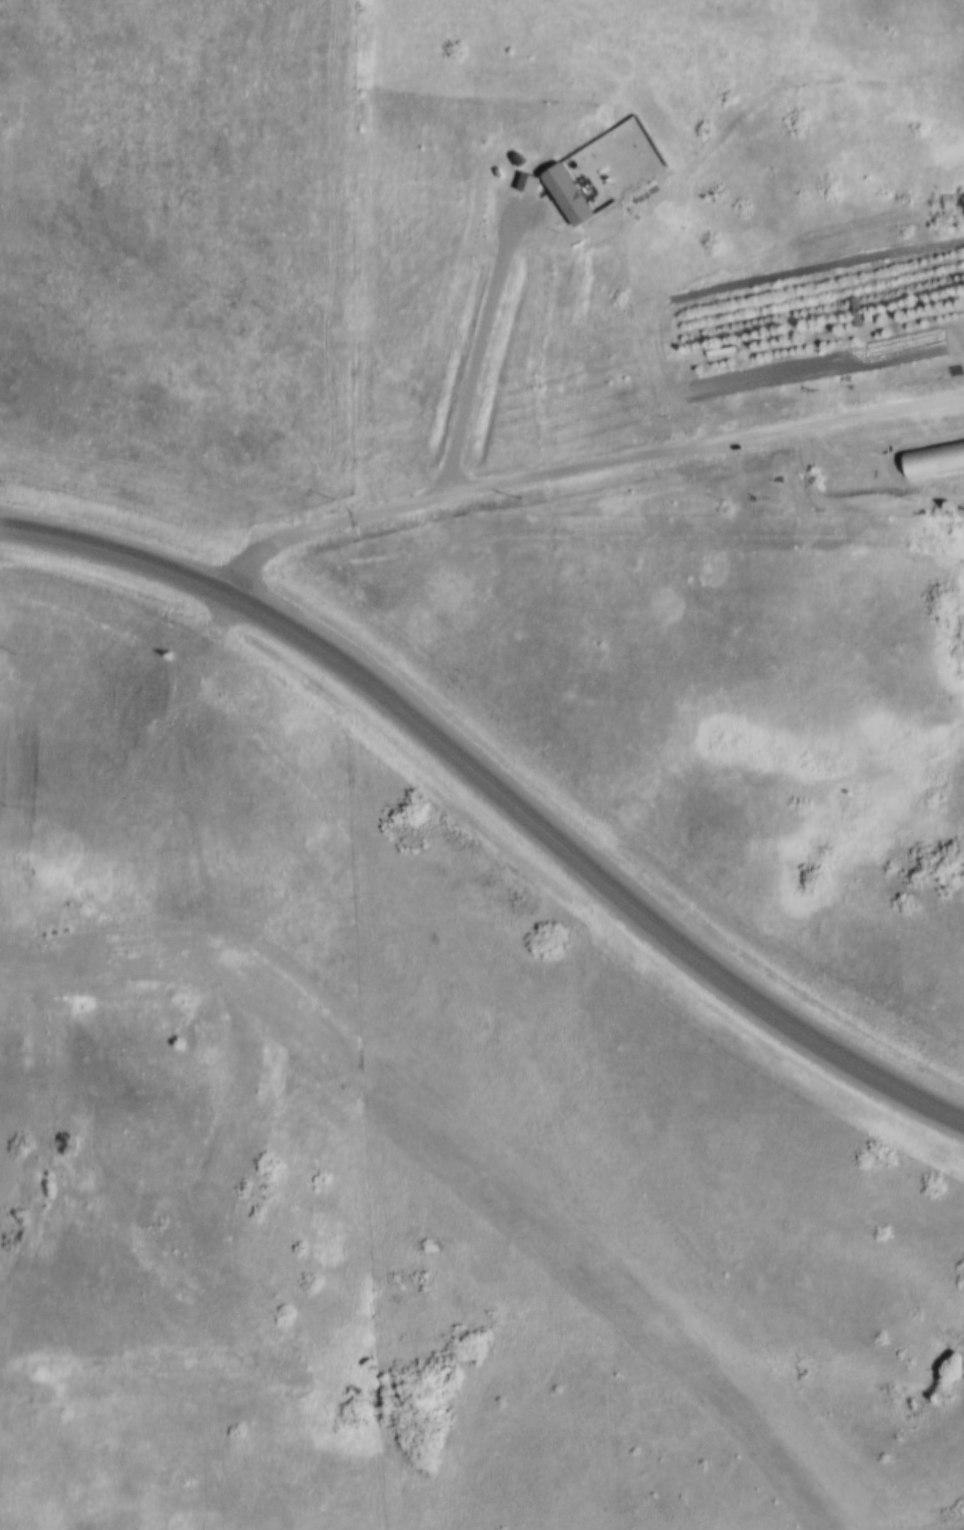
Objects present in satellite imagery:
building: (513, 157)
building: (566, 195)
road: (476, 346)
building: (931, 457)
road: (582, 465)
road: (495, 791)

